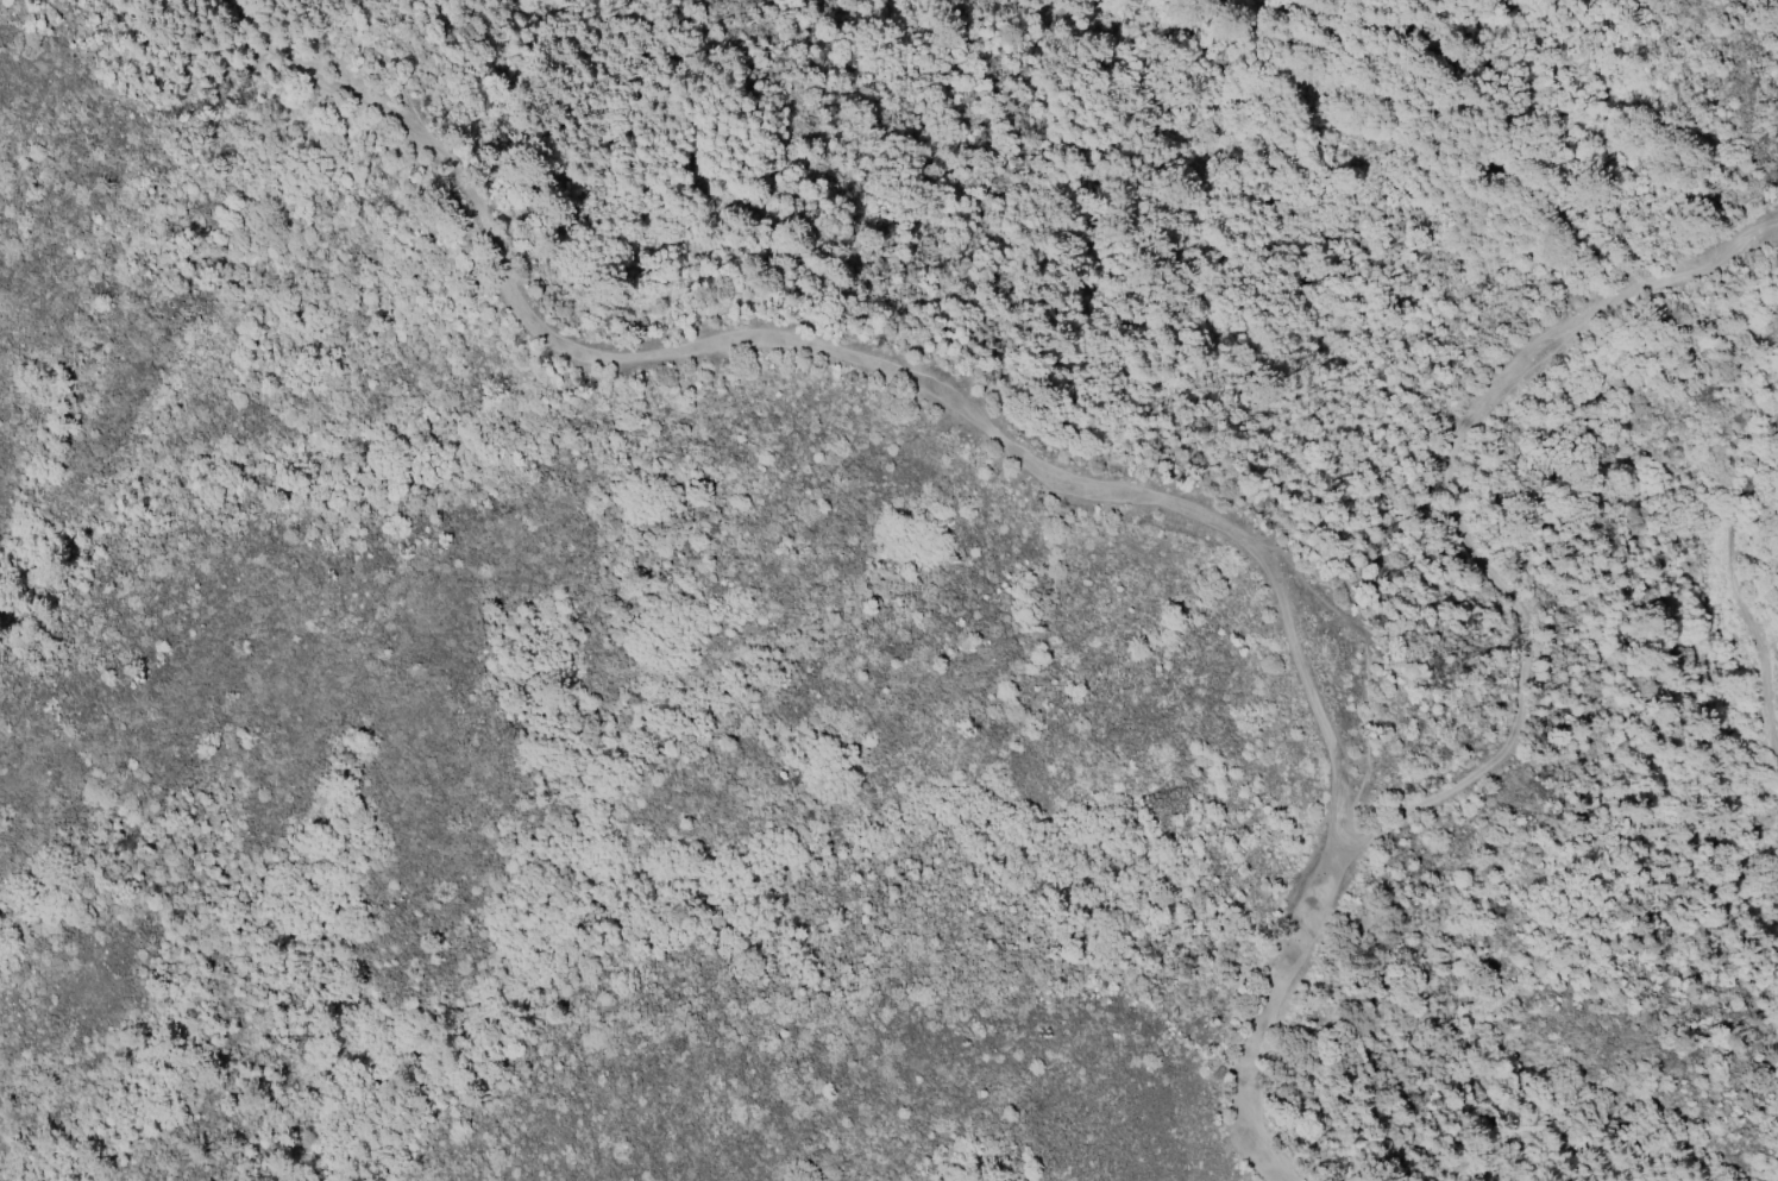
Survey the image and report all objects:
road: (1163, 13)
road: (836, 347)
road: (1453, 501)
road: (1741, 591)
road: (1265, 1007)

